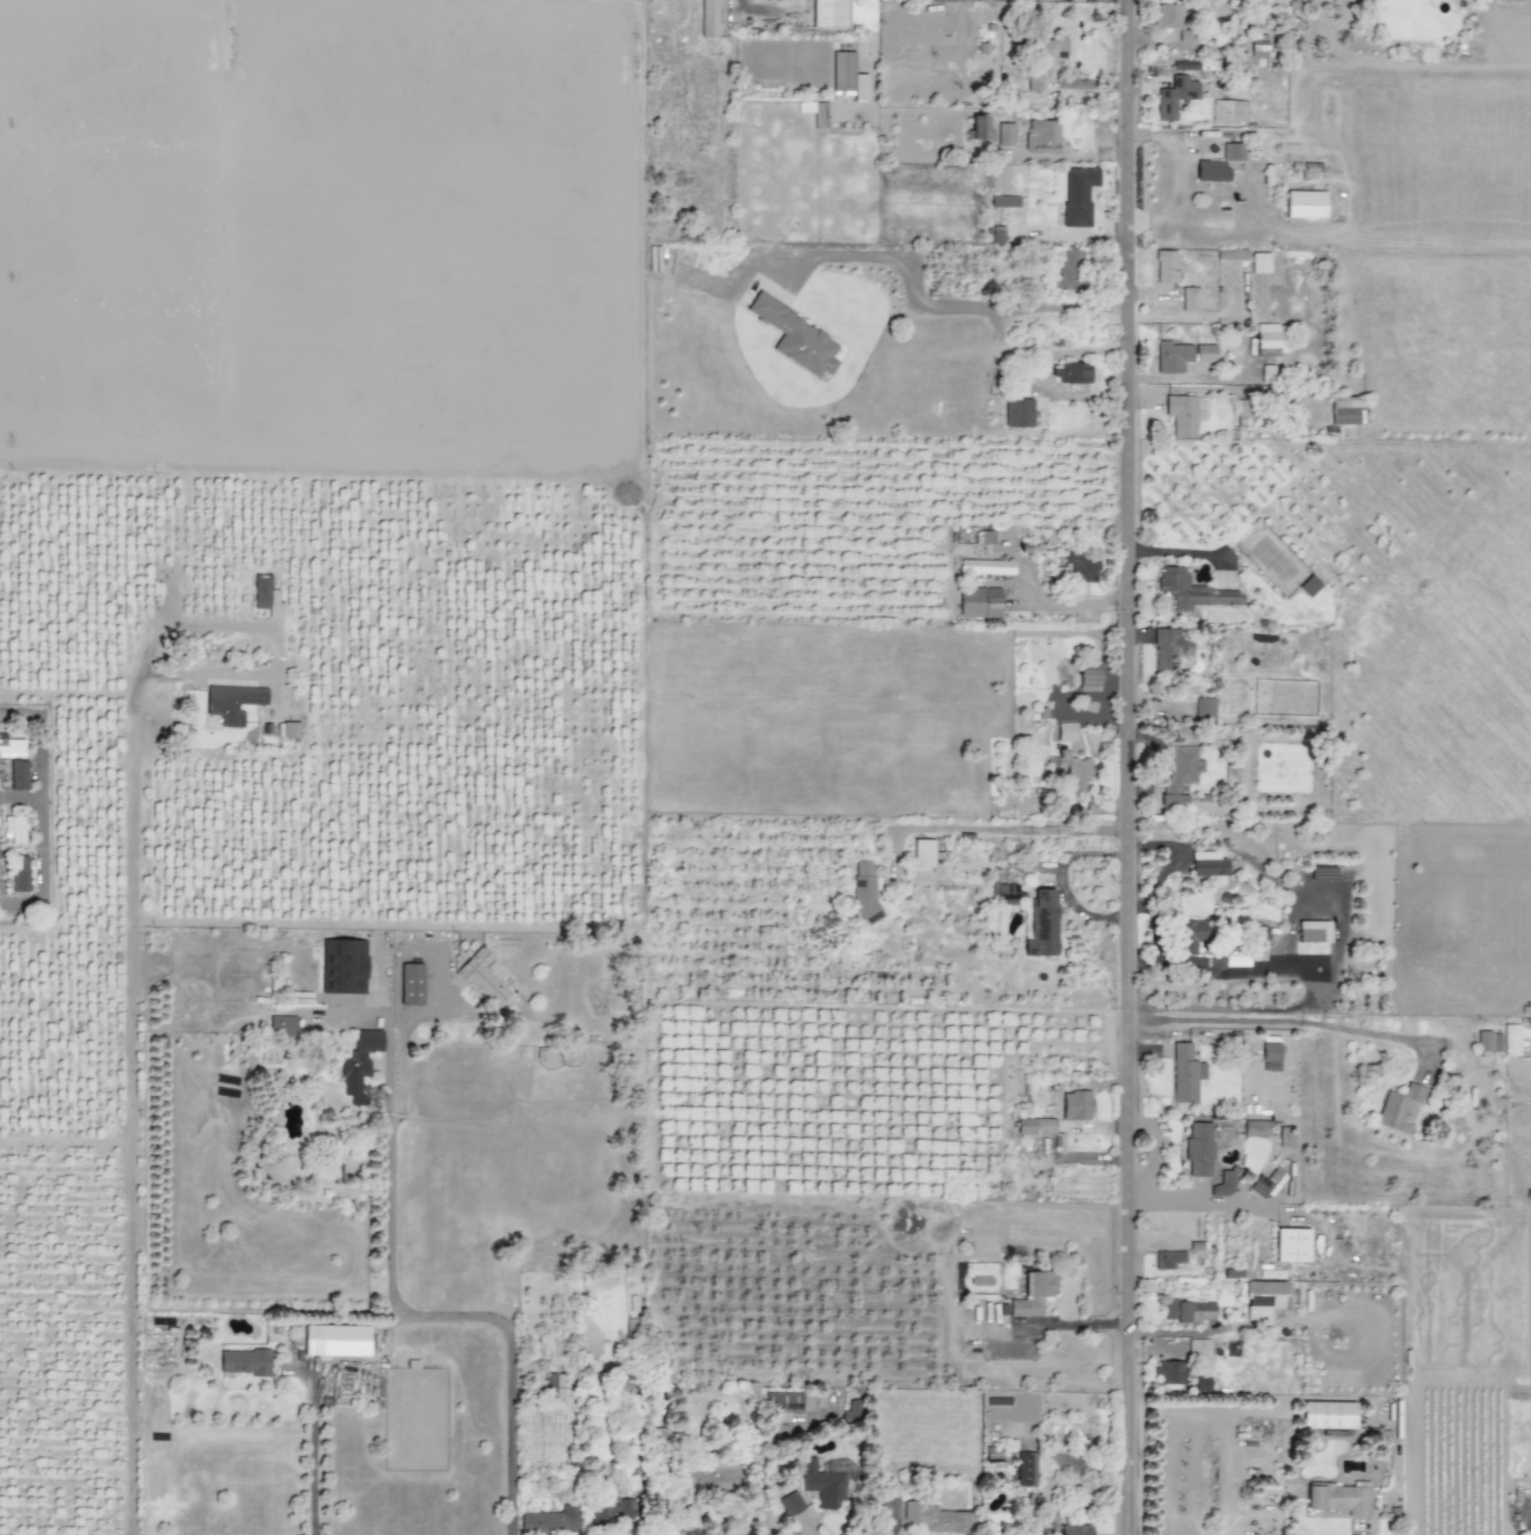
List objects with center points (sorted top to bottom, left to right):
building: (977, 0)
building: (1043, 0)
building: (1074, 0)
building: (828, 13)
building: (709, 18)
building: (1174, 21)
building: (1258, 46)
building: (1051, 52)
building: (1184, 65)
building: (847, 76)
building: (1034, 82)
building: (1174, 96)
building: (1228, 111)
building: (815, 112)
building: (977, 128)
building: (1005, 134)
building: (1041, 136)
building: (1232, 152)
road: (1067, 156)
building: (1211, 171)
building: (1078, 195)
building: (1004, 201)
building: (1304, 204)
building: (997, 234)
building: (1259, 262)
building: (1165, 267)
building: (1070, 269)
building: (1189, 299)
road: (920, 302)
road: (1058, 306)
building: (1267, 335)
building: (796, 337)
building: (1266, 352)
building: (1181, 357)
building: (1071, 373)
building: (1267, 374)
building: (1244, 408)
building: (1343, 410)
building: (1018, 413)
building: (1181, 415)
building: (984, 537)
road: (1019, 558)
building: (986, 567)
building: (1075, 568)
building: (1309, 586)
building: (1192, 591)
building: (265, 595)
building: (979, 603)
road: (270, 630)
building: (1169, 649)
building: (1089, 676)
building: (232, 702)
building: (1204, 709)
building: (290, 730)
building: (1066, 732)
building: (12, 748)
road: (1130, 767)
building: (18, 774)
building: (1180, 776)
road: (19, 797)
road: (39, 809)
building: (14, 829)
road: (1010, 829)
building: (922, 853)
building: (1209, 866)
building: (20, 873)
building: (865, 891)
building: (1004, 894)
building: (1042, 924)
building: (1313, 931)
building: (1193, 932)
building: (1228, 961)
building: (343, 966)
building: (482, 977)
building: (411, 984)
road: (1286, 1020)
building: (282, 1026)
building: (1511, 1040)
building: (1488, 1041)
road: (401, 1049)
building: (1270, 1057)
building: (358, 1063)
building: (1185, 1074)
building: (1075, 1105)
building: (1399, 1108)
road: (131, 1110)
building: (1035, 1126)
building: (1256, 1128)
building: (1285, 1137)
road: (1155, 1149)
building: (1198, 1149)
building: (1226, 1182)
road: (1198, 1198)
building: (1291, 1245)
building: (1168, 1259)
building: (1033, 1295)
building: (1265, 1298)
road: (404, 1311)
building: (1189, 1311)
road: (1081, 1325)
road: (1199, 1331)
building: (335, 1340)
building: (1198, 1349)
building: (245, 1362)
building: (1170, 1372)
building: (1201, 1383)
building: (554, 1384)
building: (786, 1402)
building: (851, 1410)
building: (1327, 1415)
building: (993, 1453)
road: (312, 1461)
building: (1025, 1469)
building: (720, 1479)
building: (824, 1488)
building: (1339, 1499)
building: (791, 1503)
building: (610, 1511)
building: (937, 1518)
building: (550, 1521)
building: (1074, 1530)

